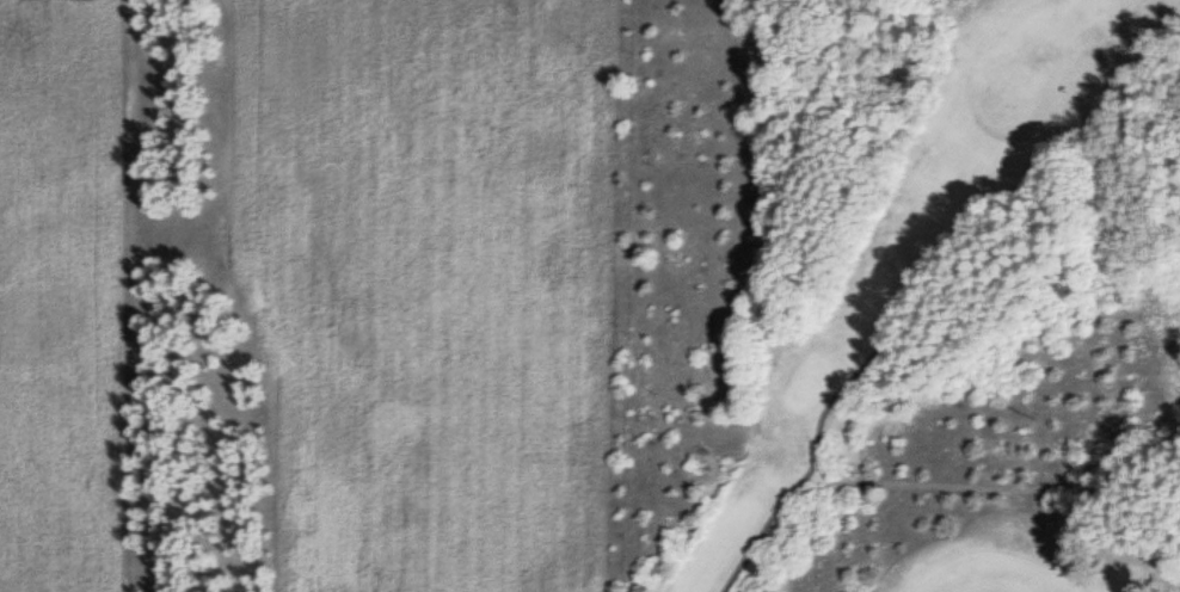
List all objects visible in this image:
park: (929, 329)

